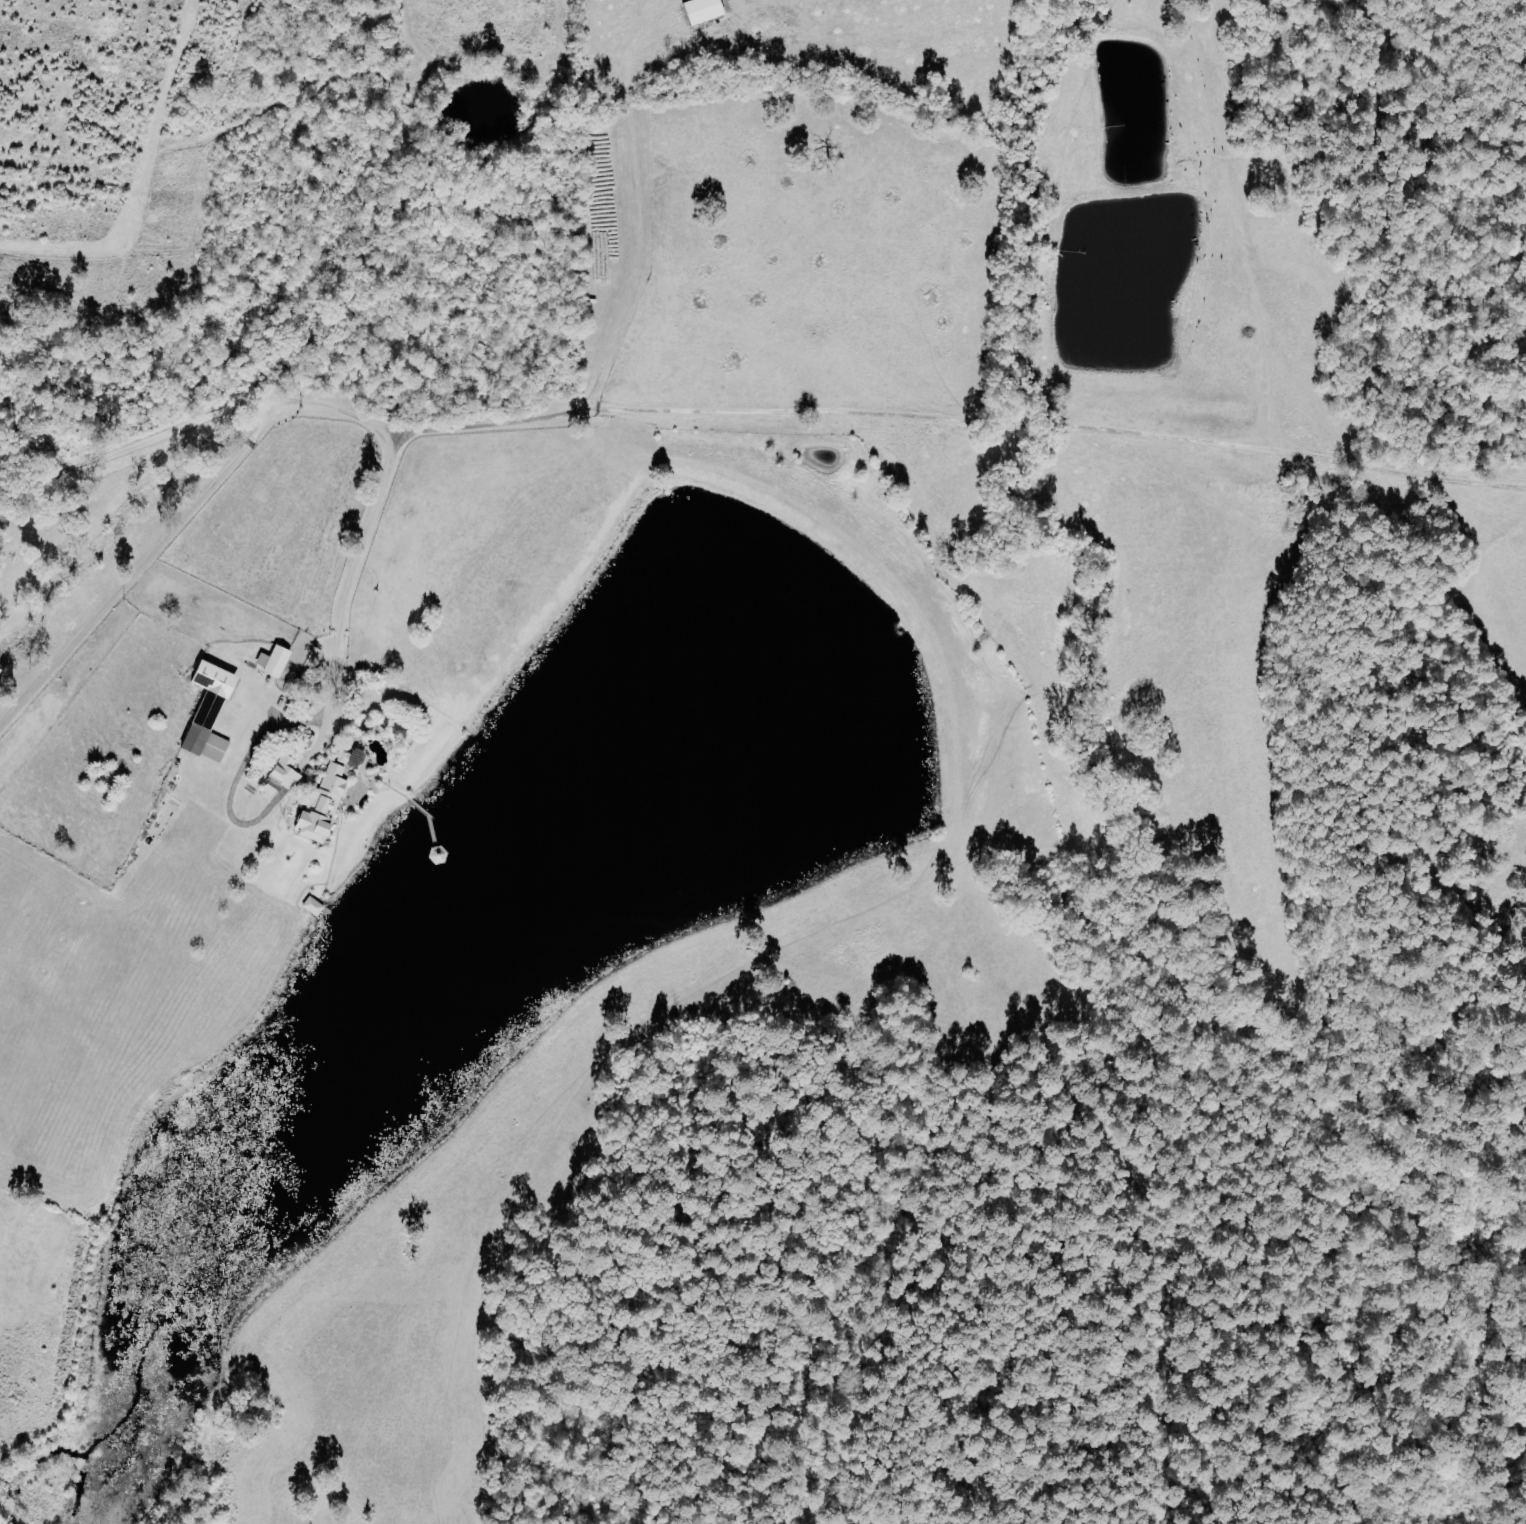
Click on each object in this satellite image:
building: (697, 10)
road: (330, 406)
road: (958, 419)
road: (133, 445)
road: (142, 567)
road: (353, 572)
building: (278, 662)
building: (214, 712)
building: (285, 777)
building: (327, 807)
building: (316, 907)

